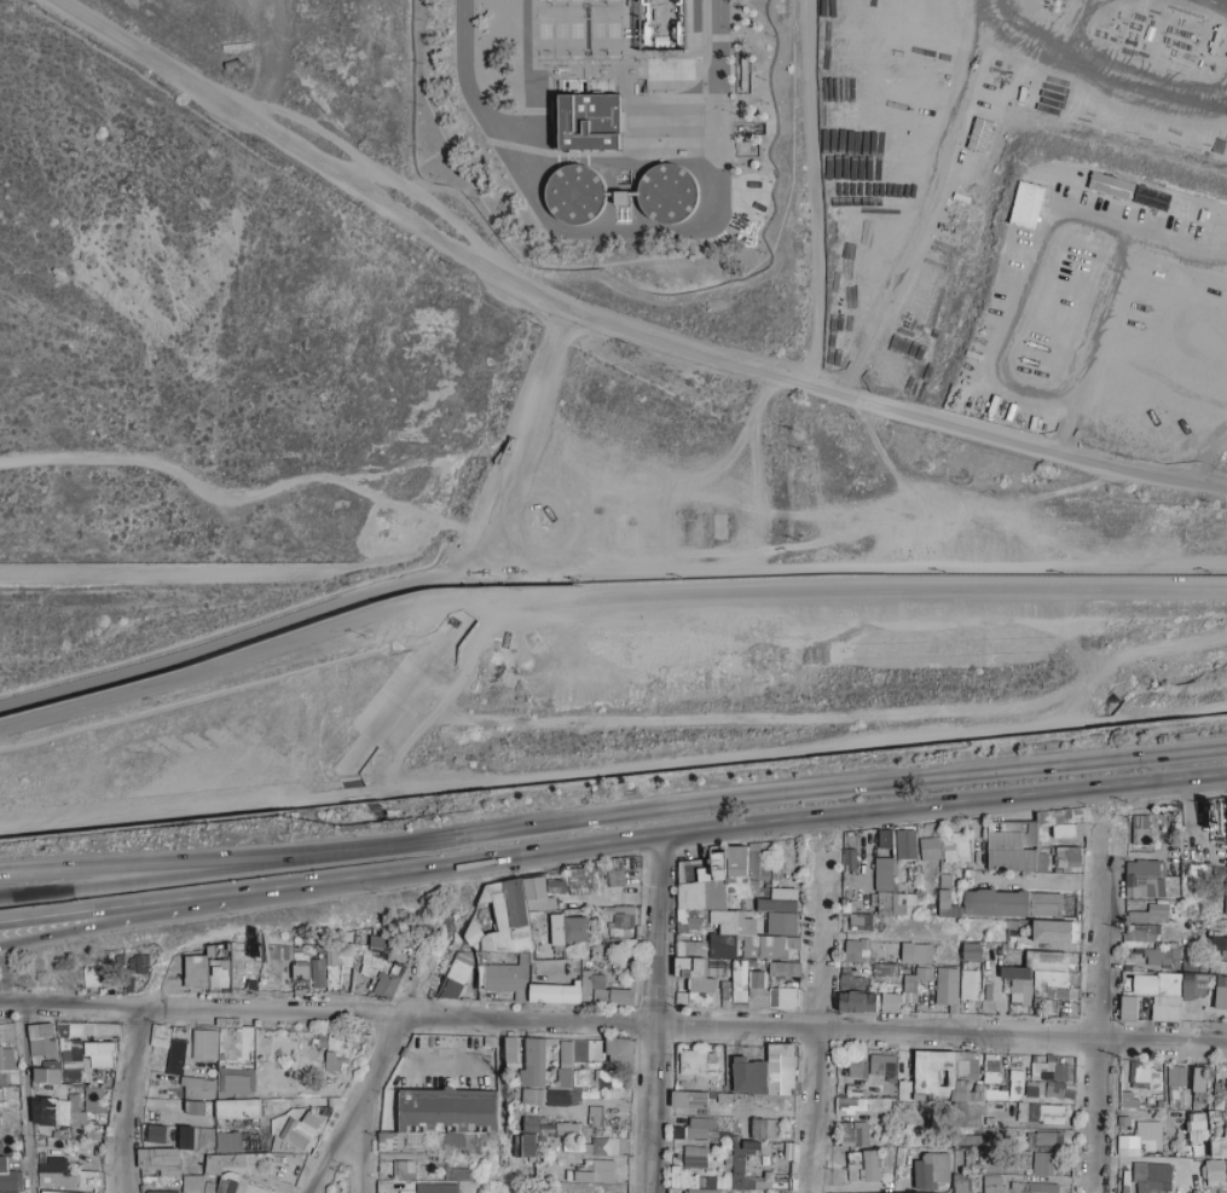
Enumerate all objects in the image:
road: (1121, 42)
building: (588, 122)
building: (978, 134)
wastewater plant: (571, 139)
road: (608, 152)
building: (1110, 185)
building: (574, 192)
building: (666, 193)
building: (620, 198)
building: (1151, 198)
road: (922, 199)
building: (1025, 204)
road: (618, 227)
road: (1113, 284)
road: (604, 325)
road: (220, 497)
road: (857, 568)
road: (255, 572)
road: (488, 587)
road: (857, 589)
road: (375, 592)
road: (243, 660)
road: (774, 722)
road: (403, 748)
road: (613, 770)
road: (753, 794)
building: (1066, 813)
building: (1076, 815)
building: (1049, 817)
building: (1139, 821)
road: (1185, 827)
road: (729, 829)
building: (1013, 829)
building: (1031, 830)
building: (1069, 830)
building: (1141, 836)
building: (884, 838)
building: (1001, 841)
building: (905, 844)
building: (754, 847)
building: (930, 847)
building: (956, 847)
building: (1175, 847)
building: (942, 850)
building: (1066, 858)
building: (736, 859)
building: (849, 859)
building: (1011, 859)
road: (140, 862)
building: (1041, 862)
building: (758, 865)
building: (1136, 868)
building: (690, 869)
building: (713, 869)
building: (945, 870)
building: (1196, 870)
building: (1220, 871)
building: (775, 873)
road: (141, 874)
building: (882, 875)
building: (895, 875)
building: (614, 876)
building: (727, 880)
building: (944, 881)
building: (585, 882)
building: (737, 885)
building: (1131, 886)
building: (1151, 886)
building: (536, 887)
building: (753, 887)
building: (555, 891)
building: (764, 891)
building: (785, 894)
building: (690, 896)
building: (714, 896)
building: (1225, 897)
road: (625, 898)
building: (729, 898)
building: (1128, 898)
building: (873, 899)
building: (594, 903)
building: (884, 903)
building: (943, 903)
building: (994, 903)
building: (537, 904)
building: (903, 904)
building: (1043, 904)
building: (1069, 904)
building: (562, 905)
building: (776, 905)
building: (845, 907)
road: (116, 908)
building: (608, 910)
building: (624, 910)
building: (931, 910)
building: (954, 911)
building: (563, 913)
building: (696, 913)
building: (719, 916)
building: (1078, 916)
building: (1148, 916)
building: (620, 921)
road: (117, 922)
building: (694, 922)
building: (860, 922)
building: (782, 923)
building: (746, 925)
building: (1011, 925)
building: (557, 930)
building: (575, 930)
building: (1052, 931)
building: (1073, 932)
building: (612, 933)
building: (621, 933)
building: (1215, 933)
building: (1147, 936)
building: (678, 937)
building: (1219, 943)
building: (377, 944)
building: (228, 946)
building: (312, 946)
building: (636, 946)
building: (723, 946)
building: (768, 946)
building: (239, 948)
building: (626, 948)
building: (297, 949)
building: (345, 949)
building: (357, 949)
building: (691, 949)
building: (256, 951)
building: (857, 951)
building: (971, 951)
building: (278, 952)
building: (560, 952)
building: (317, 954)
building: (916, 954)
building: (331, 955)
building: (364, 955)
building: (1159, 955)
building: (463, 956)
building: (473, 956)
building: (300, 959)
building: (525, 959)
building: (324, 960)
building: (345, 961)
building: (1046, 961)
building: (404, 962)
building: (943, 962)
building: (380, 963)
building: (719, 963)
building: (137, 965)
building: (1175, 965)
building: (1190, 965)
building: (751, 966)
building: (1219, 966)
building: (691, 967)
building: (247, 968)
building: (783, 968)
building: (1127, 968)
building: (887, 969)
building: (1139, 969)
building: (1204, 969)
building: (196, 971)
building: (301, 971)
building: (366, 971)
building: (398, 971)
building: (181, 972)
building: (220, 972)
building: (458, 972)
building: (718, 972)
building: (913, 972)
building: (317, 973)
building: (924, 973)
building: (1015, 973)
building: (89, 975)
building: (230, 975)
building: (480, 977)
building: (1123, 977)
building: (105, 978)
building: (332, 978)
building: (505, 978)
building: (1052, 979)
building: (740, 980)
building: (1221, 980)
building: (261, 981)
building: (372, 981)
building: (585, 981)
building: (597, 981)
building: (909, 983)
building: (1036, 983)
building: (382, 984)
building: (757, 984)
building: (853, 984)
building: (970, 984)
building: (1170, 984)
building: (1196, 984)
building: (128, 985)
building: (711, 985)
building: (945, 985)
building: (1144, 985)
building: (195, 986)
building: (392, 988)
building: (450, 989)
building: (93, 990)
building: (299, 990)
building: (727, 990)
building: (1020, 991)
building: (1038, 991)
building: (1200, 991)
building: (336, 992)
building: (346, 994)
building: (1055, 994)
building: (522, 995)
building: (601, 995)
building: (621, 996)
building: (696, 997)
building: (907, 997)
building: (1220, 997)
building: (465, 998)
building: (682, 998)
building: (772, 998)
building: (787, 998)
building: (759, 1002)
building: (858, 1002)
building: (1037, 1002)
building: (890, 1003)
building: (1017, 1003)
building: (1054, 1004)
road: (1096, 1004)
building: (1167, 1008)
building: (954, 1009)
building: (1127, 1010)
building: (1061, 1014)
building: (1069, 1014)
road: (655, 1015)
road: (613, 1020)
road: (814, 1021)
building: (10, 1026)
building: (46, 1030)
building: (62, 1030)
building: (75, 1030)
building: (100, 1030)
building: (114, 1030)
building: (87, 1031)
building: (34, 1032)
building: (105, 1037)
building: (164, 1037)
building: (51, 1038)
building: (320, 1039)
building: (314, 1041)
building: (551, 1041)
building: (0, 1043)
building: (172, 1043)
building: (63, 1044)
building: (206, 1044)
building: (597, 1046)
building: (41, 1047)
building: (338, 1047)
building: (162, 1049)
building: (178, 1049)
building: (510, 1049)
building: (620, 1050)
building: (782, 1050)
building: (87, 1052)
building: (312, 1053)
building: (566, 1053)
road: (434, 1054)
building: (220, 1055)
building: (50, 1056)
building: (100, 1058)
building: (1, 1059)
building: (8, 1059)
building: (343, 1060)
building: (332, 1061)
building: (533, 1061)
building: (700, 1062)
building: (71, 1064)
building: (56, 1065)
building: (881, 1065)
building: (174, 1066)
building: (562, 1066)
building: (212, 1069)
building: (856, 1069)
building: (86, 1070)
building: (330, 1070)
building: (1047, 1070)
building: (398, 1072)
building: (46, 1075)
building: (209, 1075)
building: (1175, 1076)
building: (401, 1077)
building: (565, 1077)
building: (1141, 1077)
building: (580, 1078)
building: (607, 1078)
building: (1198, 1078)
building: (5, 1081)
building: (251, 1083)
building: (35, 1084)
building: (235, 1084)
building: (162, 1088)
building: (197, 1088)
building: (73, 1089)
building: (1048, 1089)
building: (220, 1095)
building: (243, 1095)
building: (74, 1096)
building: (550, 1096)
road: (24, 1098)
building: (36, 1099)
road: (125, 1099)
building: (701, 1099)
building: (93, 1100)
building: (1127, 1100)
building: (5, 1104)
building: (183, 1104)
building: (0, 1105)
building: (74, 1105)
building: (849, 1105)
building: (197, 1106)
road: (357, 1106)
building: (212, 1108)
building: (36, 1110)
building: (238, 1110)
building: (47, 1112)
building: (62, 1112)
building: (1040, 1113)
building: (594, 1116)
building: (163, 1117)
building: (77, 1118)
building: (441, 1119)
building: (1194, 1127)
building: (567, 1128)
building: (763, 1128)
building: (696, 1129)
building: (300, 1131)
building: (852, 1134)
building: (168, 1135)
building: (531, 1136)
building: (1040, 1139)
building: (1139, 1139)
building: (227, 1141)
building: (609, 1146)
building: (694, 1157)
building: (158, 1160)
building: (11, 1163)
building: (1041, 1164)
building: (862, 1165)
building: (747, 1168)
building: (53, 1169)
building: (930, 1169)
building: (403, 1170)
building: (594, 1172)
building: (1211, 1172)
building: (457, 1174)
building: (6, 1176)
building: (224, 1177)
building: (1150, 1177)
building: (688, 1178)
building: (960, 1182)
building: (57, 1185)
building: (992, 1185)
building: (384, 1186)
building: (1032, 1187)
building: (435, 1188)
building: (701, 1191)
building: (8, 1192)
building: (57, 1192)
building: (156, 1192)

